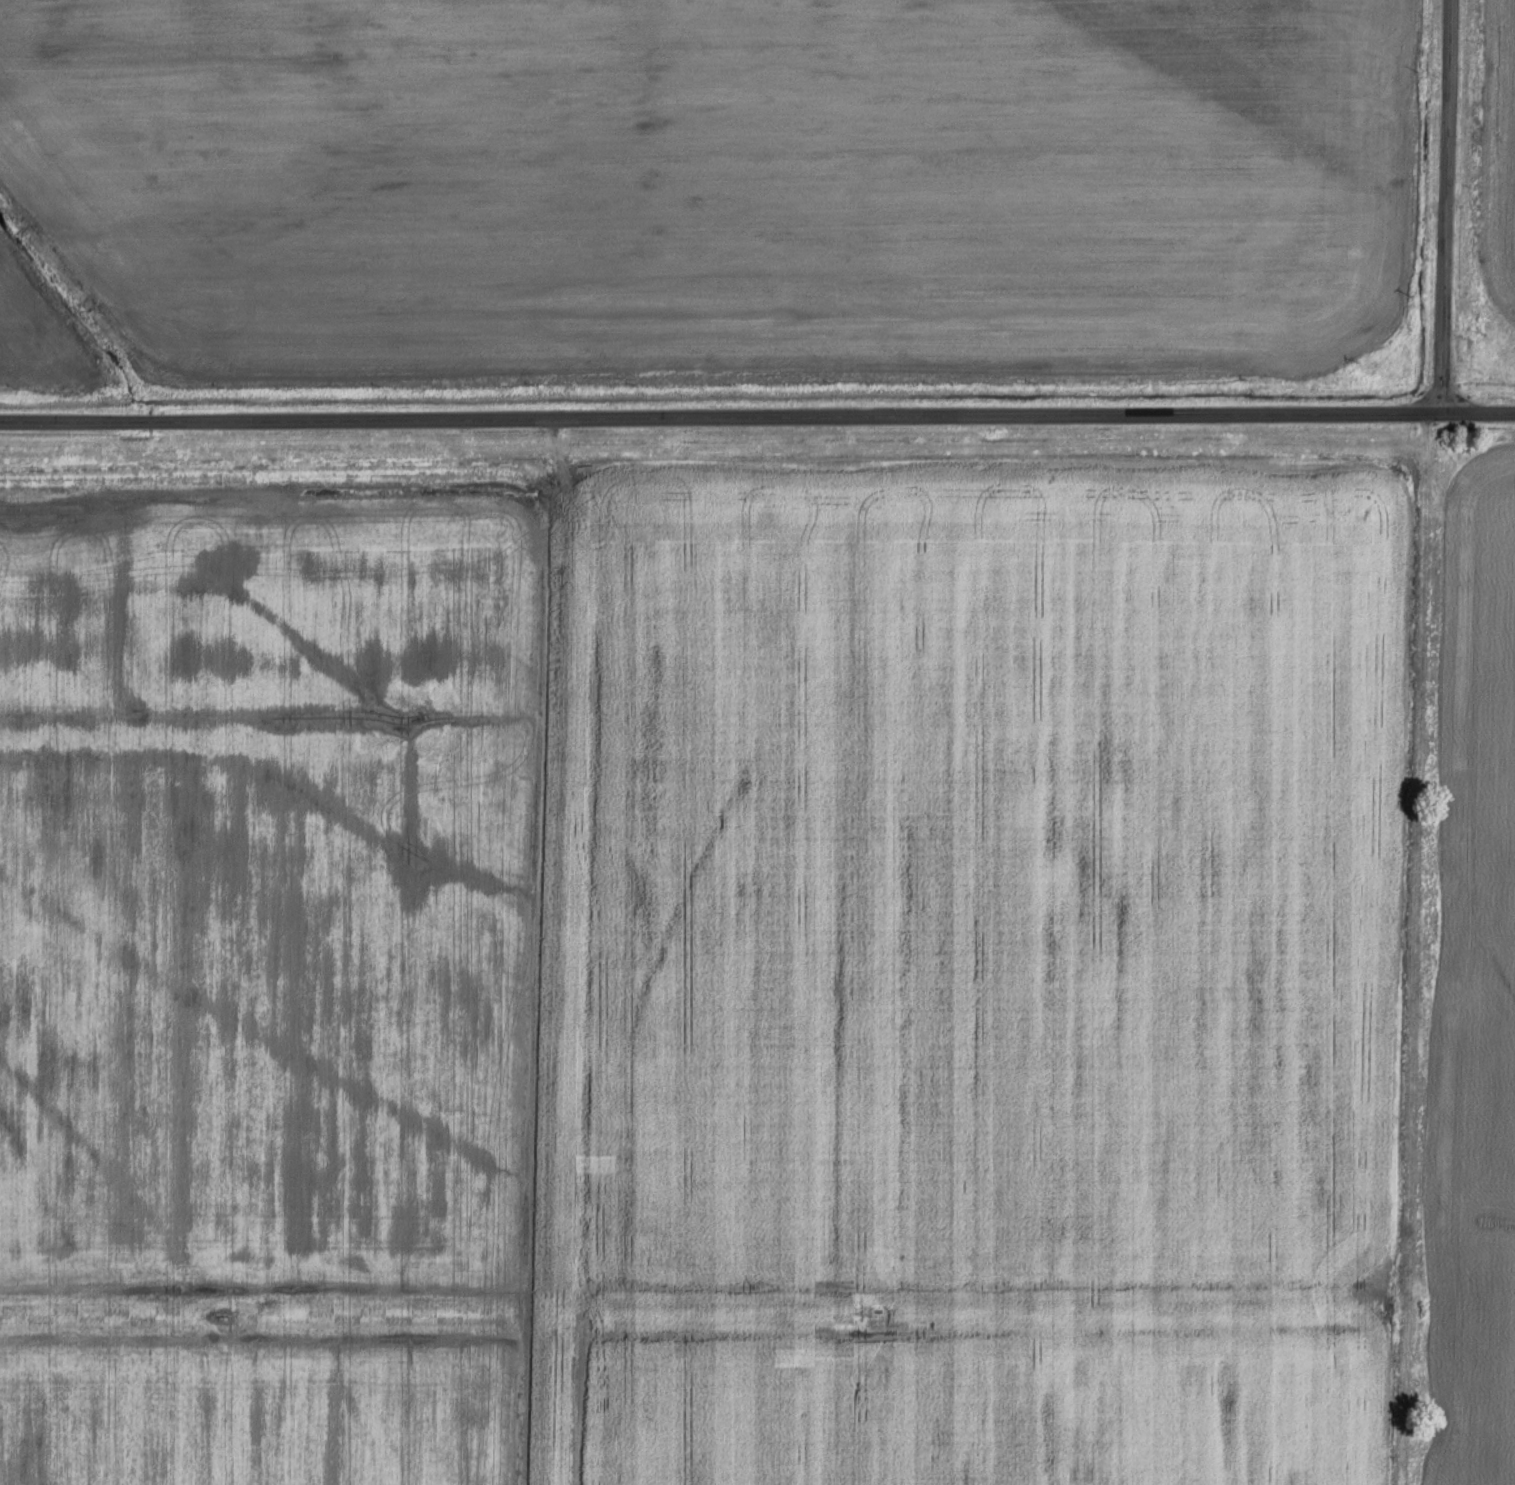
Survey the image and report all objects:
road: (1444, 207)
road: (757, 417)

